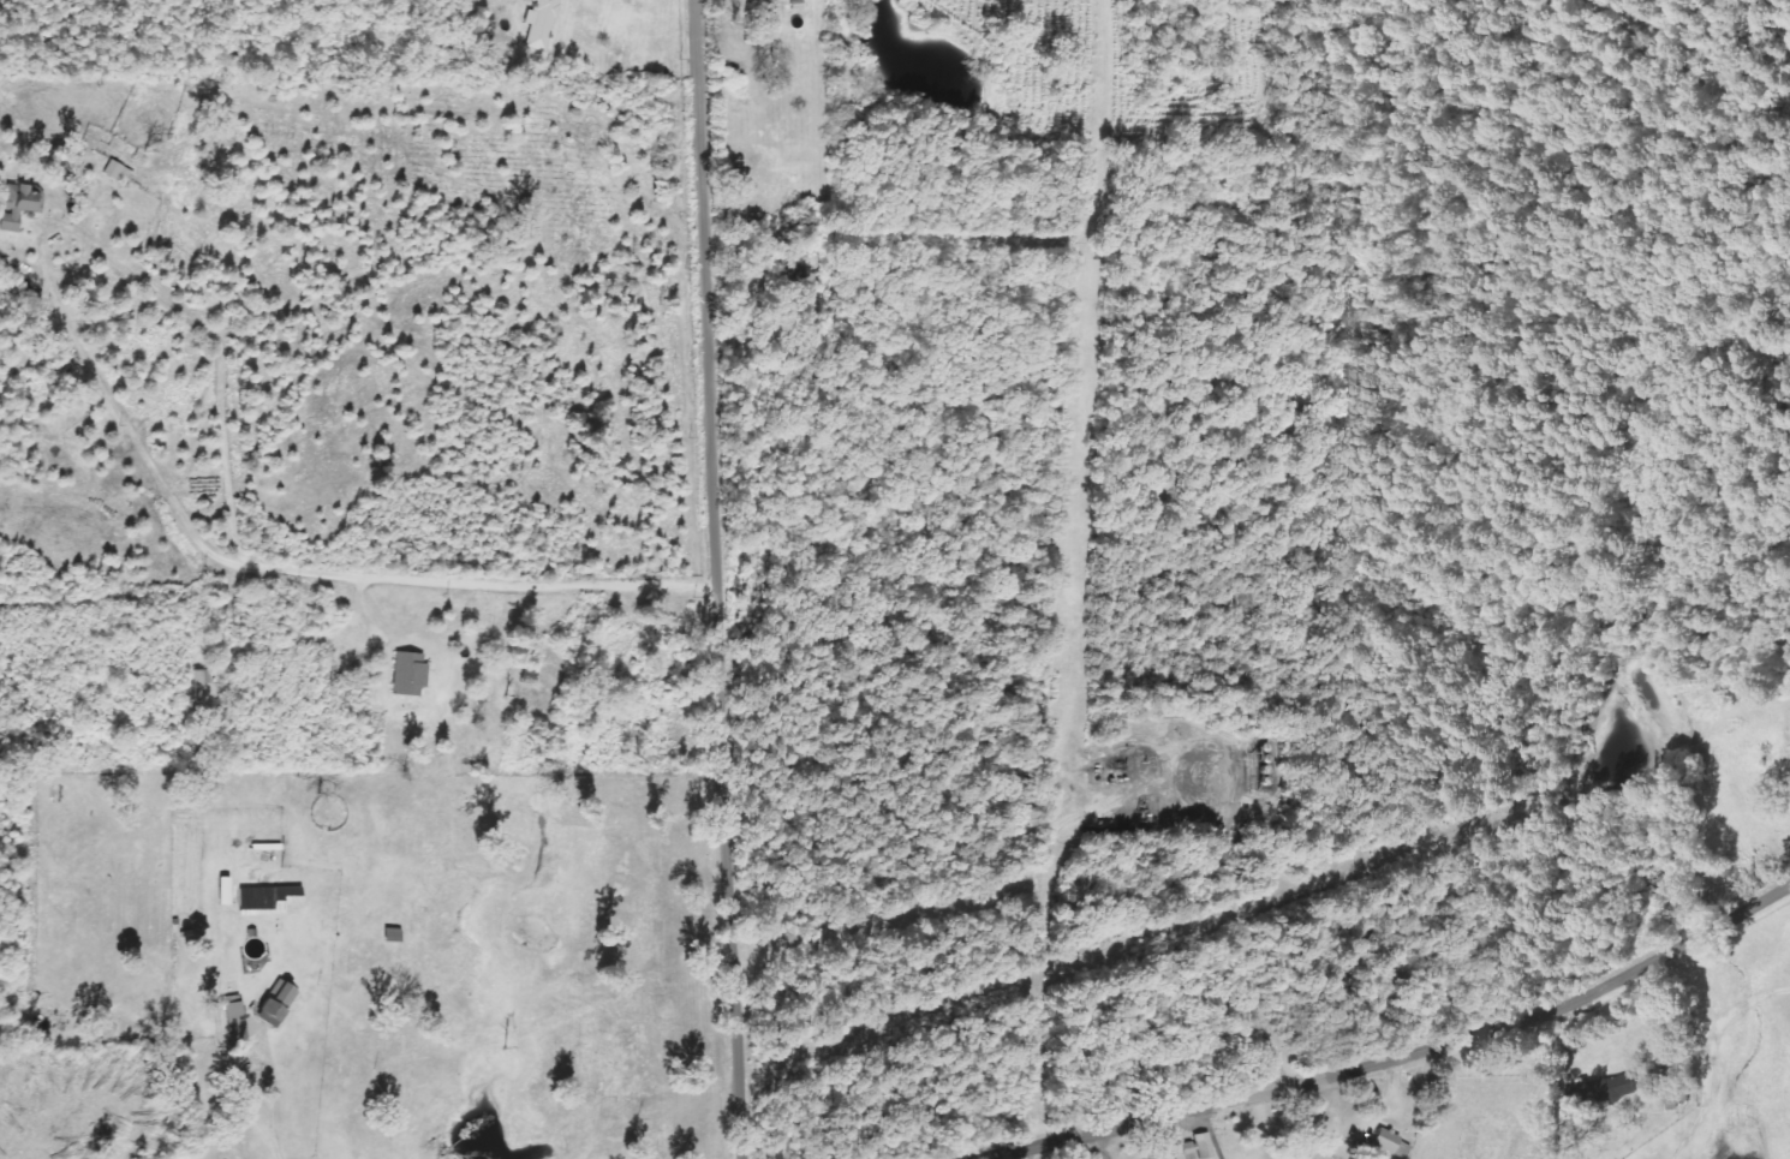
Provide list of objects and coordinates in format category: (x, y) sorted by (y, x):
building: (537, 24)
building: (114, 171)
building: (16, 204)
building: (798, 269)
road: (715, 579)
building: (406, 675)
road: (1758, 676)
building: (197, 685)
building: (220, 898)
building: (280, 901)
building: (273, 1004)
building: (231, 1014)
road: (1484, 1062)
building: (1601, 1091)
building: (1677, 1097)
building: (1389, 1145)
building: (1192, 1148)

